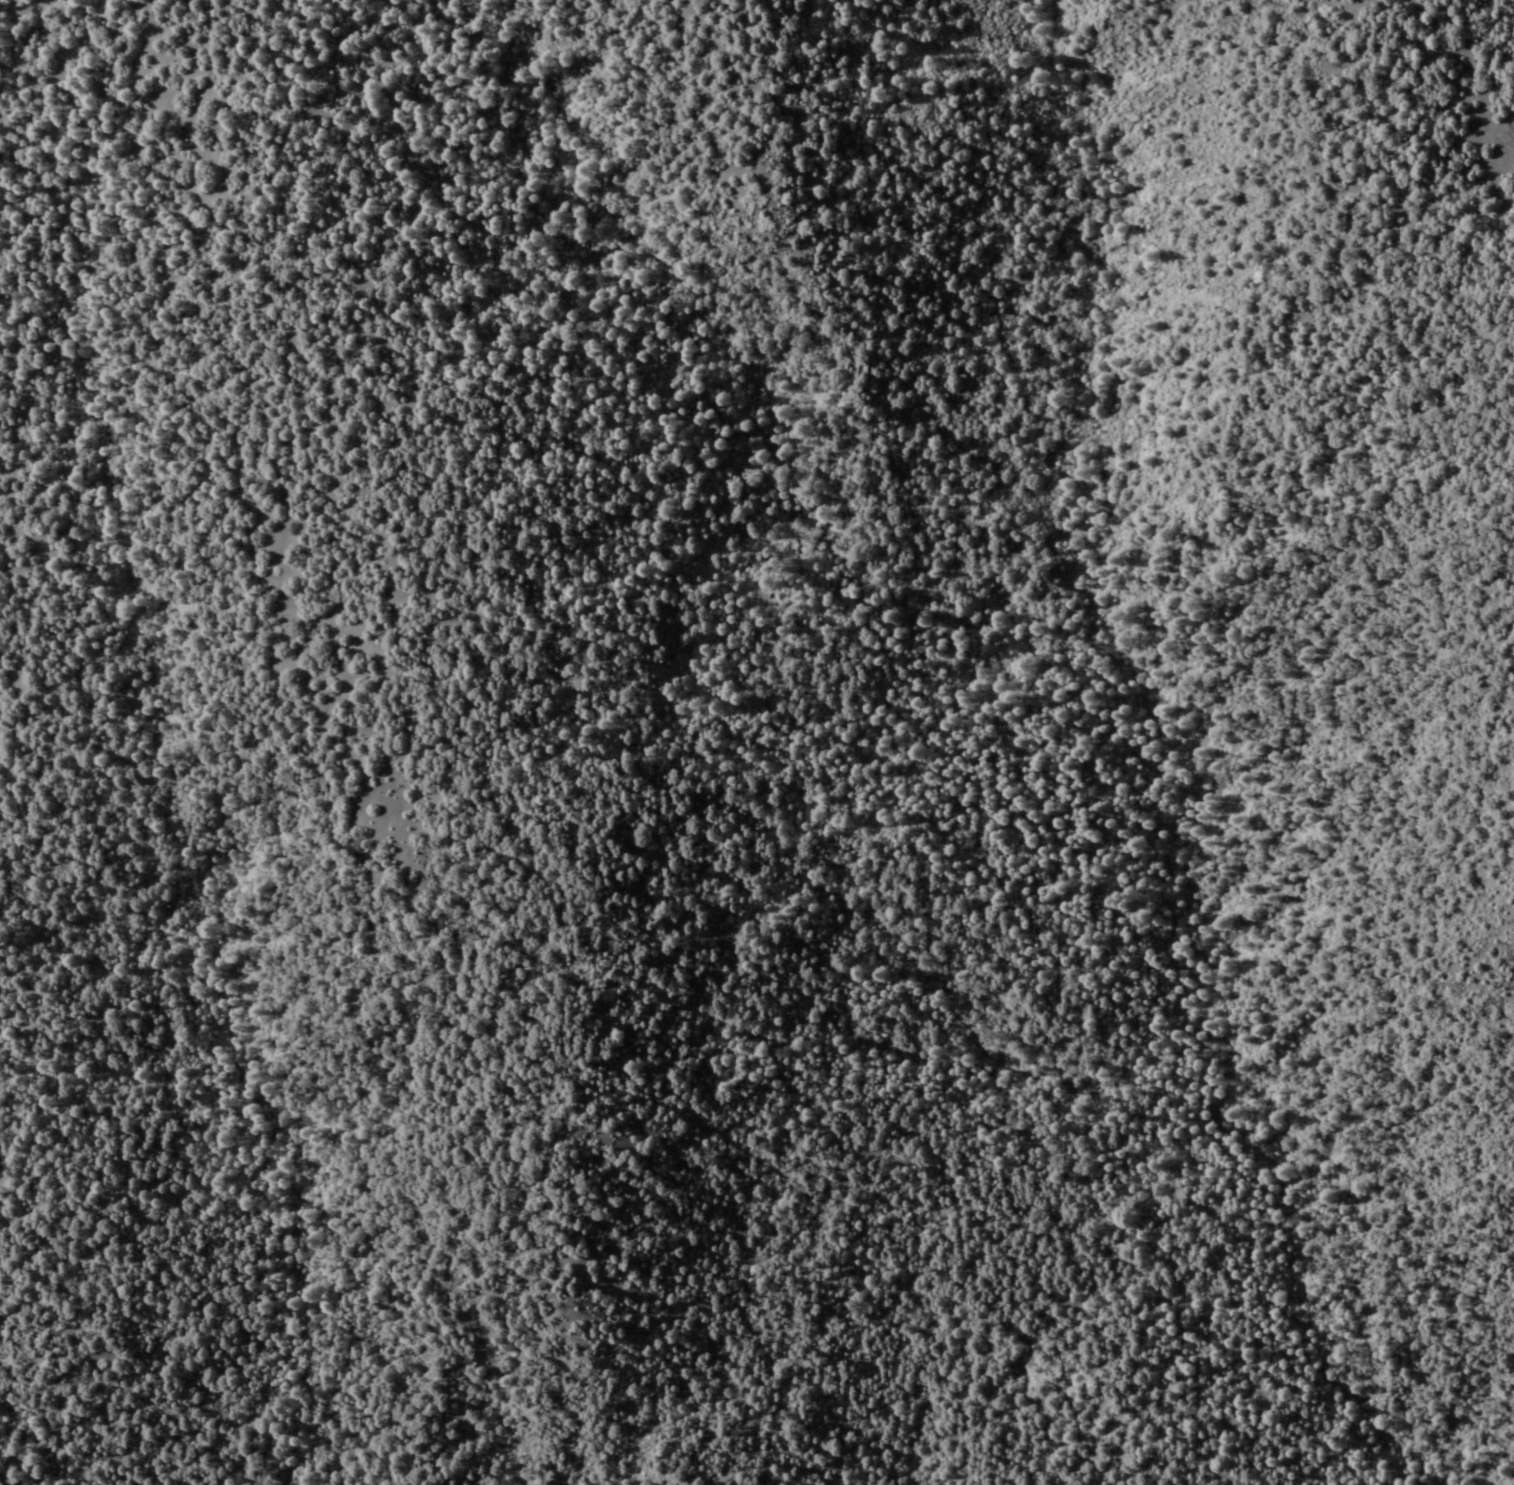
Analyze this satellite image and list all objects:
road: (30, 57)

